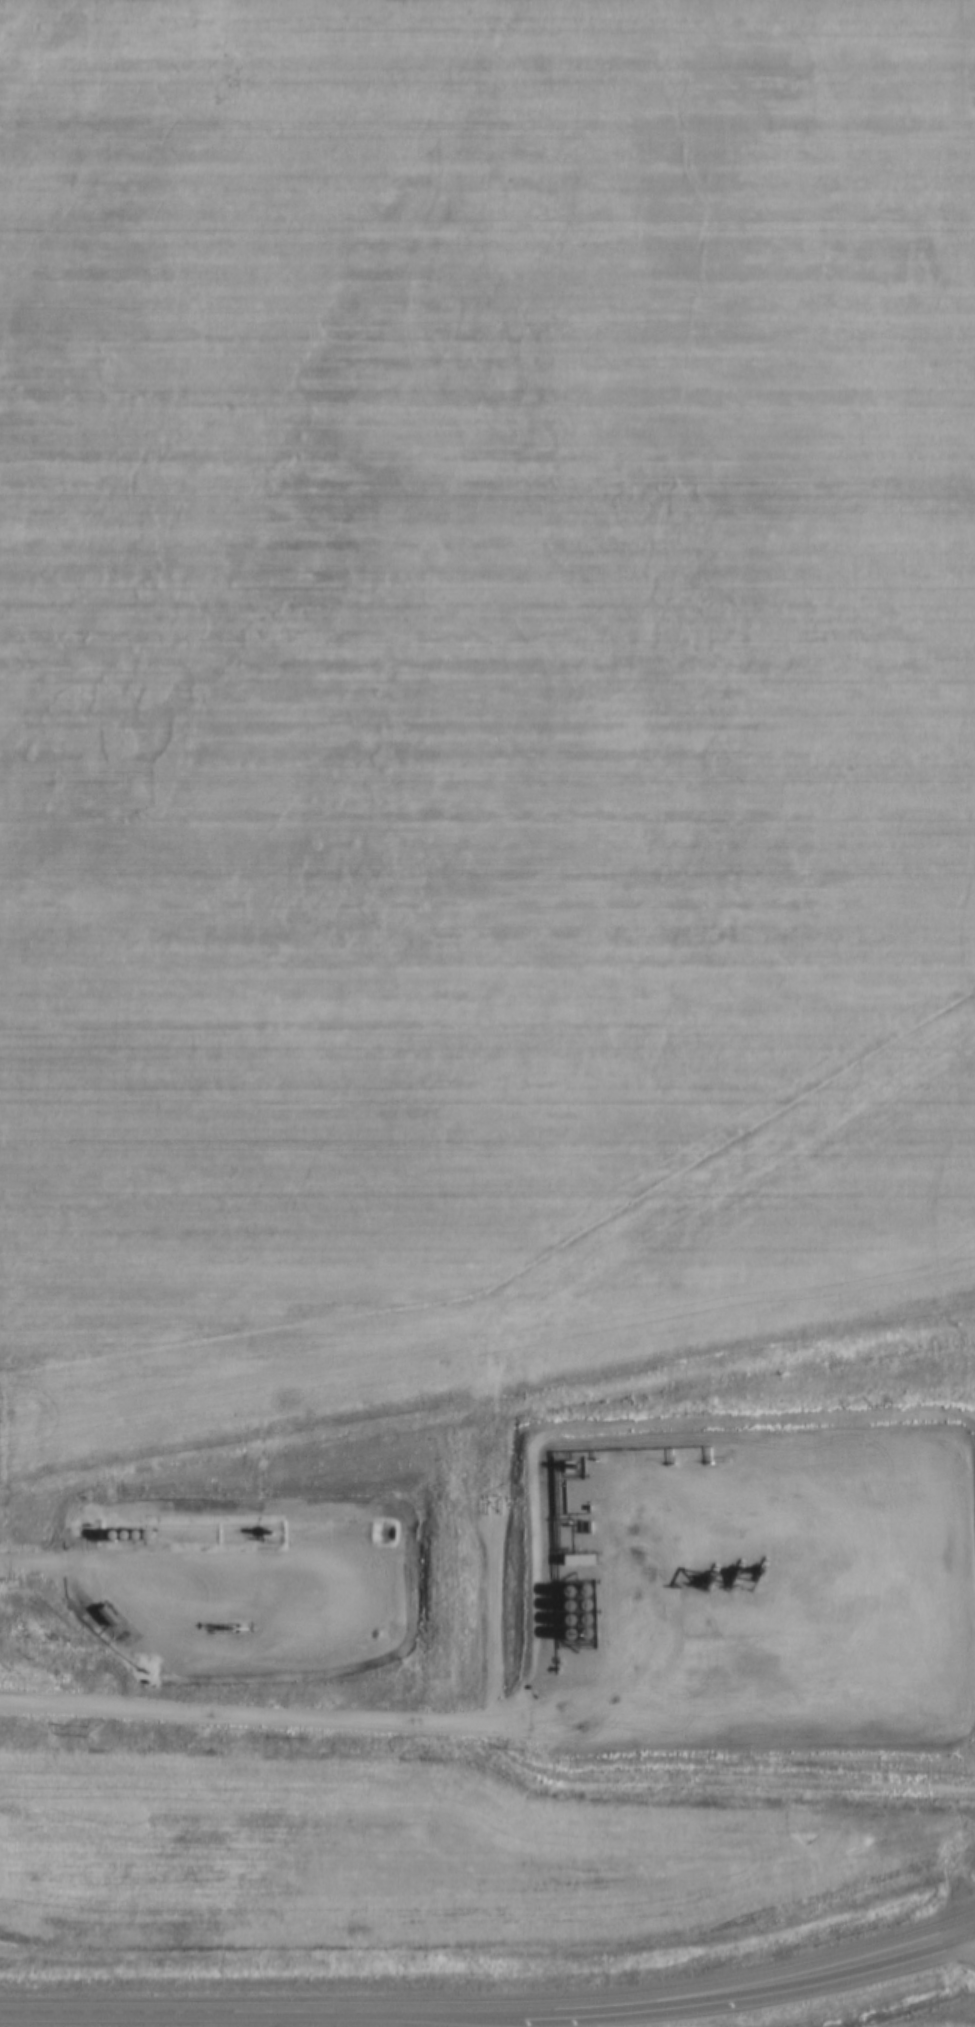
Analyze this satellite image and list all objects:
road: (492, 2016)

